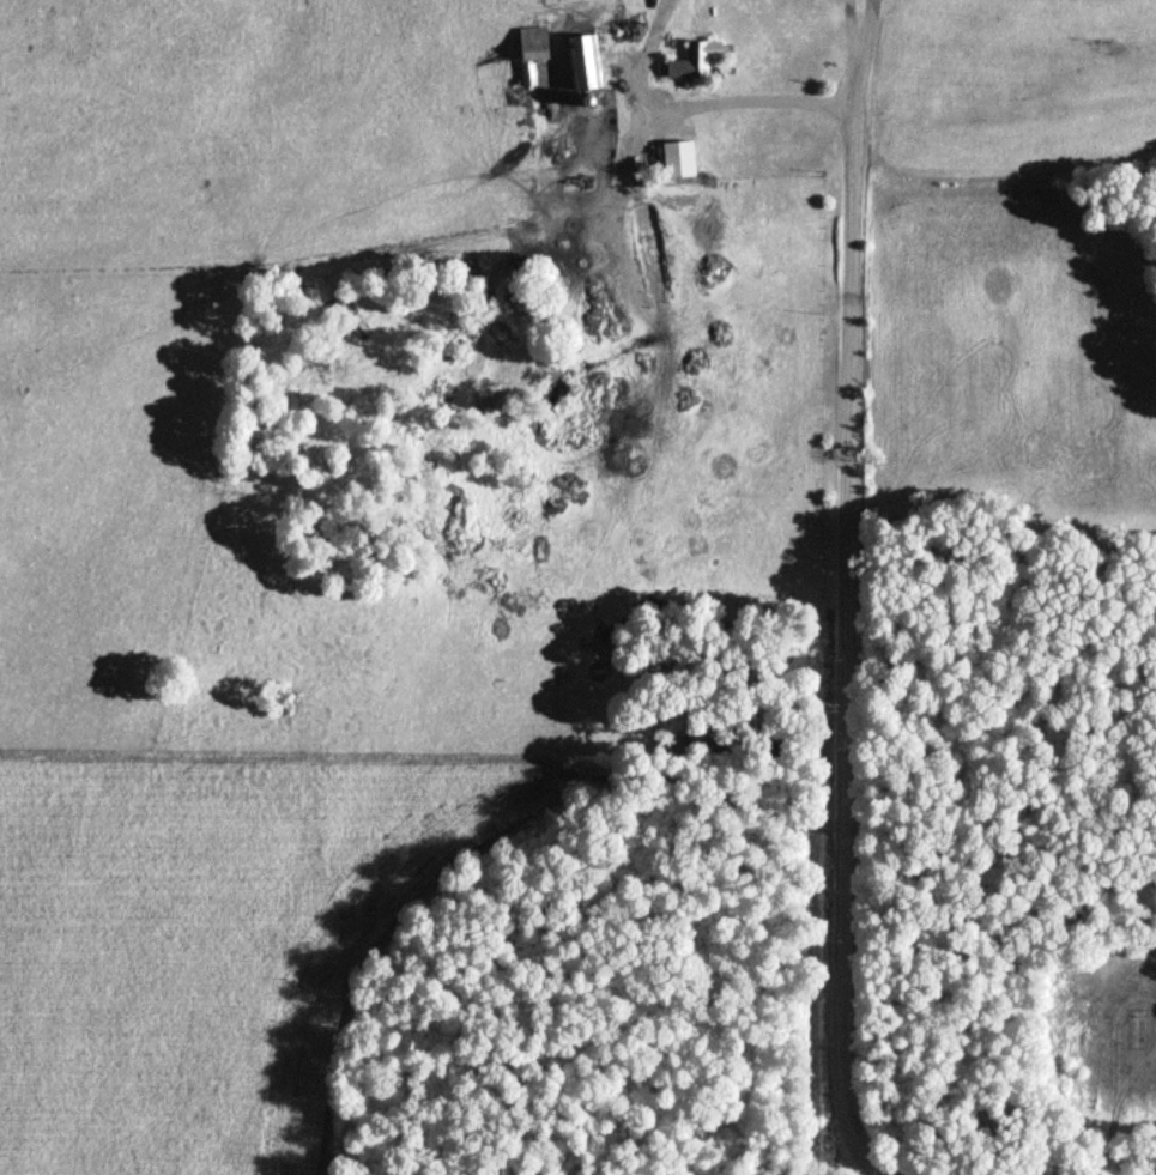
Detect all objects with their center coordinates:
building: (533, 40)
road: (859, 52)
building: (585, 59)
building: (695, 60)
building: (526, 72)
road: (718, 97)
building: (678, 156)
road: (843, 648)
road: (849, 1164)

